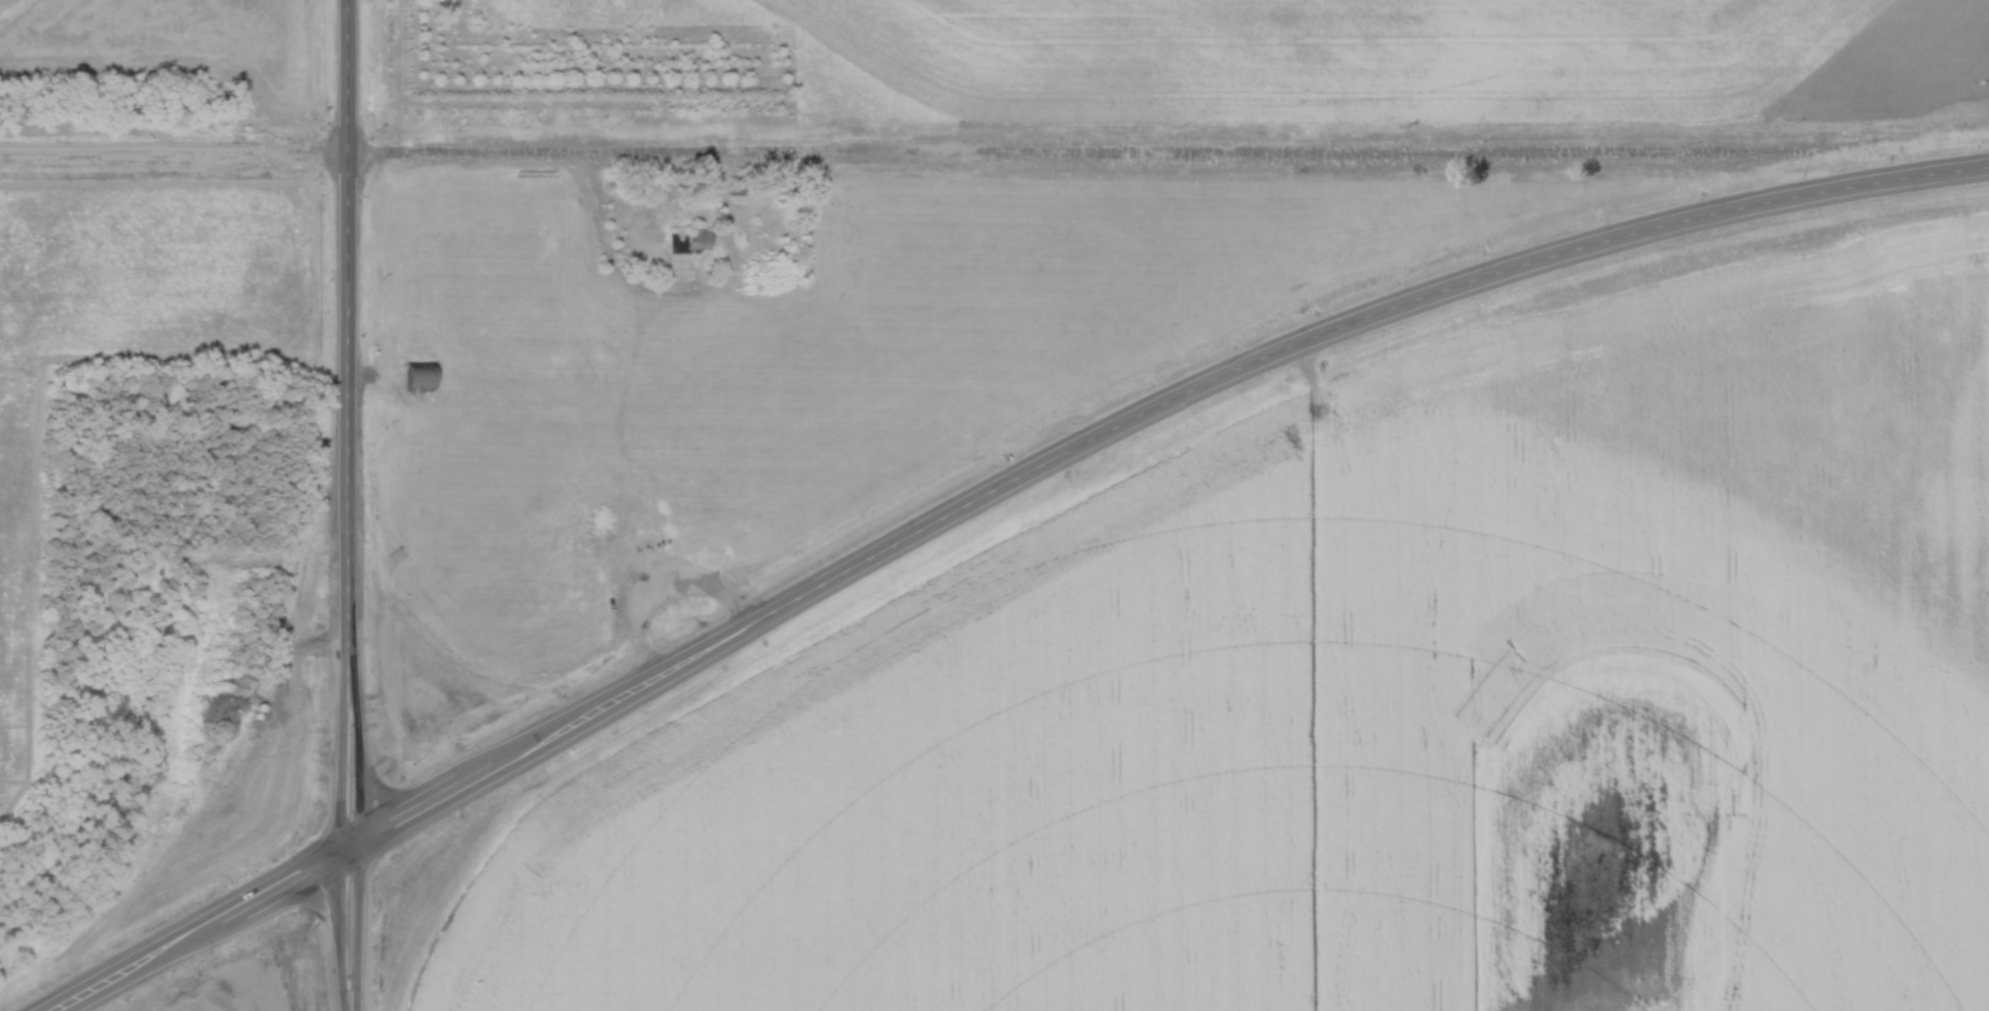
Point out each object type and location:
road: (994, 156)
building: (685, 242)
road: (608, 255)
road: (349, 343)
building: (418, 378)
road: (984, 494)
road: (348, 848)
road: (364, 848)

